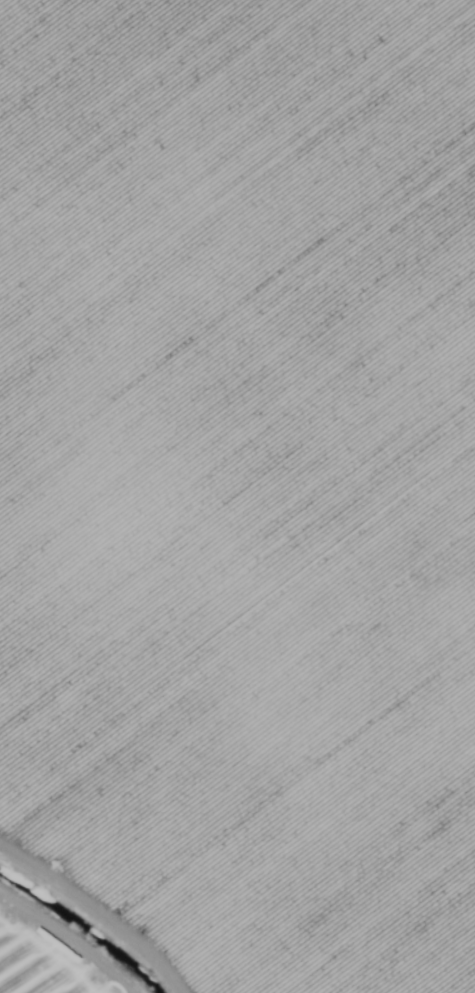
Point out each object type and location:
crop: (237, 496)

